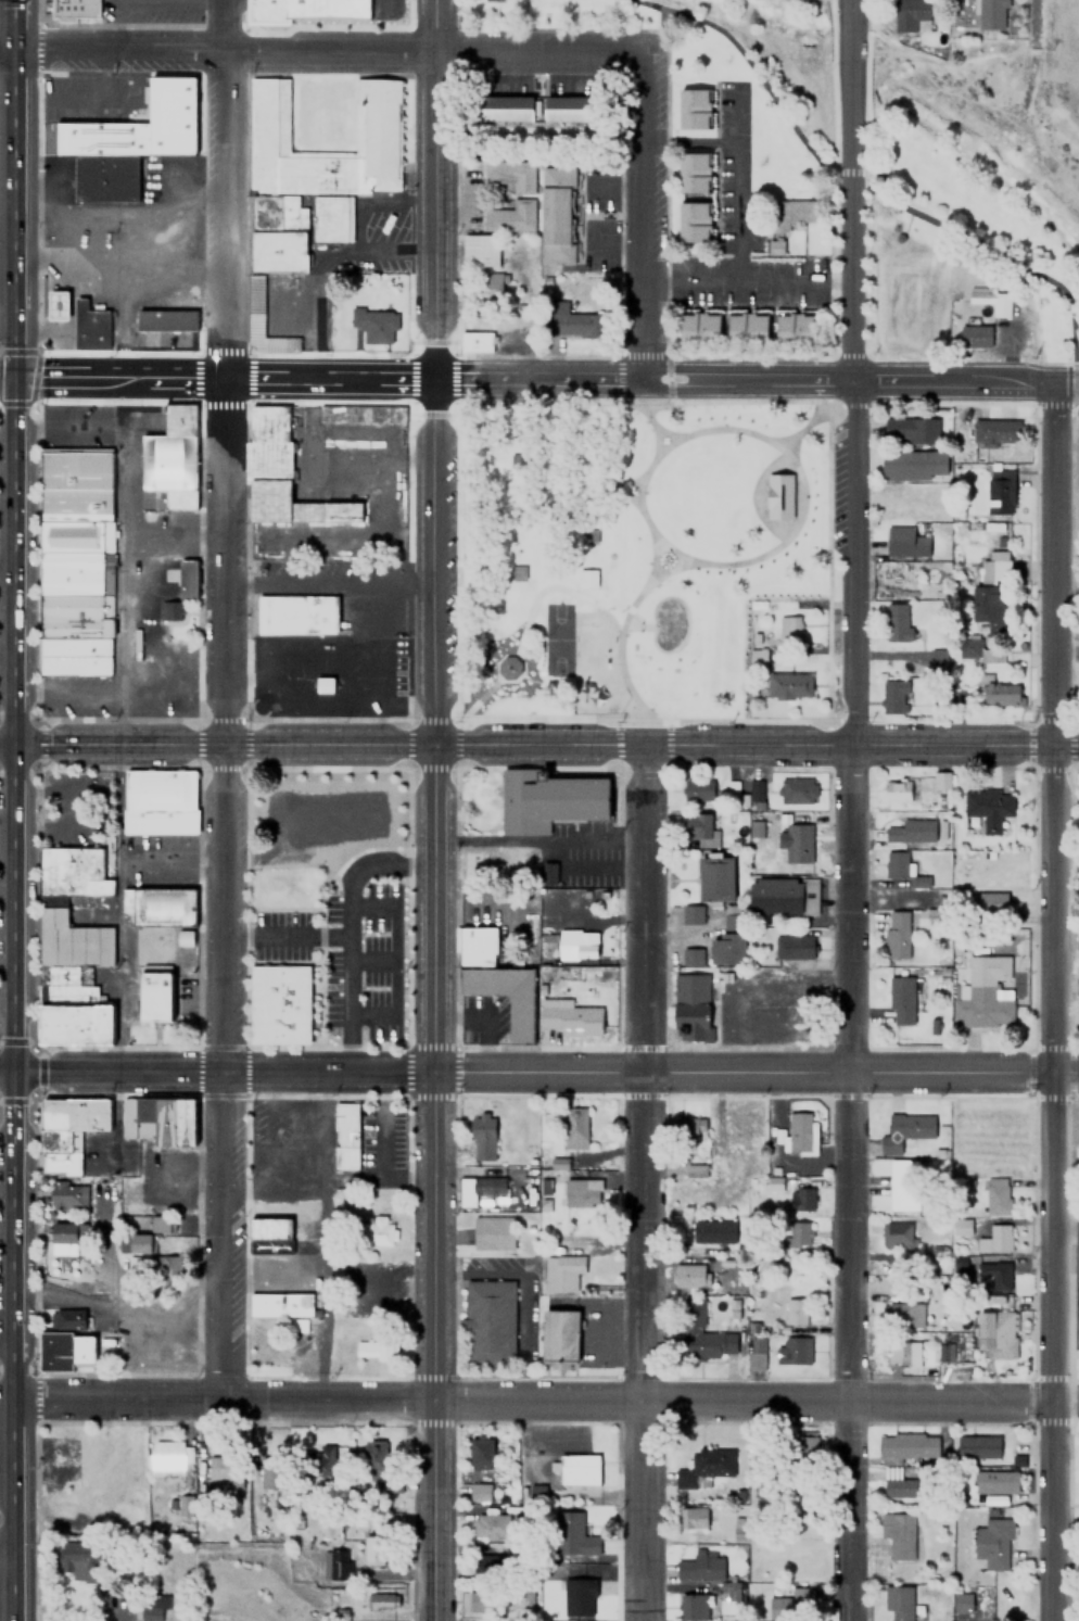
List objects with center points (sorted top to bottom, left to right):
building: (74, 9)
building: (308, 10)
building: (991, 13)
building: (912, 15)
road: (5, 50)
road: (326, 51)
building: (695, 107)
building: (507, 109)
building: (574, 109)
building: (140, 125)
park: (855, 139)
building: (315, 170)
building: (694, 173)
building: (510, 174)
road: (879, 176)
building: (106, 178)
road: (11, 188)
road: (220, 188)
road: (437, 188)
road: (850, 190)
building: (790, 212)
building: (557, 215)
building: (510, 216)
road: (644, 216)
building: (694, 221)
building: (775, 246)
building: (480, 250)
road: (748, 284)
building: (488, 288)
building: (991, 300)
building: (59, 305)
gas station: (59, 305)
building: (255, 305)
building: (166, 319)
building: (376, 325)
building: (89, 326)
building: (699, 328)
building: (748, 328)
building: (796, 328)
building: (975, 337)
building: (475, 342)
road: (7, 376)
traffic signals: (13, 377)
road: (67, 377)
road: (168, 377)
road: (647, 379)
road: (644, 406)
building: (358, 411)
road: (815, 416)
building: (912, 430)
road: (657, 431)
building: (995, 431)
building: (170, 463)
building: (914, 465)
building: (281, 473)
building: (1000, 491)
building: (774, 497)
road: (800, 498)
building: (995, 533)
building: (66, 534)
building: (905, 542)
park: (631, 548)
road: (651, 557)
road: (436, 559)
building: (187, 579)
building: (586, 579)
building: (987, 605)
building: (170, 610)
building: (296, 615)
road: (625, 619)
building: (900, 626)
building: (787, 628)
park: (556, 638)
building: (935, 658)
building: (789, 686)
building: (997, 692)
building: (894, 696)
road: (640, 719)
road: (546, 744)
road: (7, 745)
building: (941, 780)
road: (14, 784)
building: (798, 790)
building: (897, 791)
building: (549, 800)
building: (158, 802)
building: (988, 807)
building: (329, 818)
building: (701, 827)
building: (757, 828)
building: (911, 832)
building: (798, 844)
building: (478, 863)
building: (897, 864)
building: (73, 872)
building: (550, 873)
building: (715, 878)
road: (221, 888)
building: (784, 896)
building: (992, 903)
building: (160, 906)
building: (691, 914)
building: (897, 934)
building: (731, 939)
building: (576, 947)
building: (792, 948)
building: (497, 982)
building: (72, 983)
building: (983, 995)
building: (156, 998)
building: (691, 1001)
road: (850, 1001)
building: (900, 1001)
road: (1051, 1002)
building: (279, 1005)
building: (569, 1018)
road: (9, 1071)
road: (1065, 1071)
traffic signals: (17, 1072)
building: (158, 1120)
building: (574, 1129)
building: (688, 1129)
building: (905, 1130)
building: (68, 1131)
building: (798, 1131)
building: (345, 1136)
building: (482, 1138)
building: (290, 1163)
building: (561, 1163)
building: (698, 1170)
road: (431, 1181)
road: (645, 1182)
building: (776, 1182)
building: (902, 1185)
building: (478, 1189)
building: (581, 1193)
building: (995, 1195)
building: (67, 1196)
building: (796, 1199)
building: (377, 1231)
building: (63, 1233)
building: (493, 1233)
building: (712, 1233)
building: (799, 1233)
building: (269, 1234)
building: (896, 1236)
building: (994, 1239)
building: (139, 1243)
building: (1078, 1262)
building: (153, 1267)
building: (726, 1269)
building: (561, 1272)
building: (689, 1276)
building: (992, 1276)
building: (914, 1292)
building: (280, 1305)
building: (795, 1312)
building: (905, 1315)
building: (68, 1318)
building: (490, 1322)
building: (703, 1332)
building: (1077, 1332)
building: (997, 1333)
building: (560, 1338)
road: (8, 1344)
building: (372, 1348)
building: (794, 1350)
building: (64, 1351)
building: (909, 1354)
road: (532, 1401)
road: (16, 1406)
road: (8, 1422)
building: (906, 1445)
building: (977, 1446)
building: (375, 1449)
building: (804, 1451)
building: (481, 1452)
building: (167, 1456)
building: (333, 1458)
building: (764, 1458)
building: (320, 1462)
building: (701, 1465)
building: (225, 1467)
building: (577, 1469)
building: (269, 1474)
building: (388, 1482)
building: (994, 1482)
building: (896, 1484)
building: (479, 1491)
building: (694, 1517)
building: (490, 1525)
building: (741, 1529)
building: (570, 1531)
building: (897, 1534)
building: (991, 1542)
road: (8, 1543)
building: (372, 1548)
building: (80, 1560)
building: (333, 1563)
building: (486, 1563)
building: (704, 1572)
building: (581, 1595)
building: (381, 1600)
building: (897, 1601)
building: (961, 1601)
building: (480, 1603)
building: (694, 1607)
building: (151, 1610)

